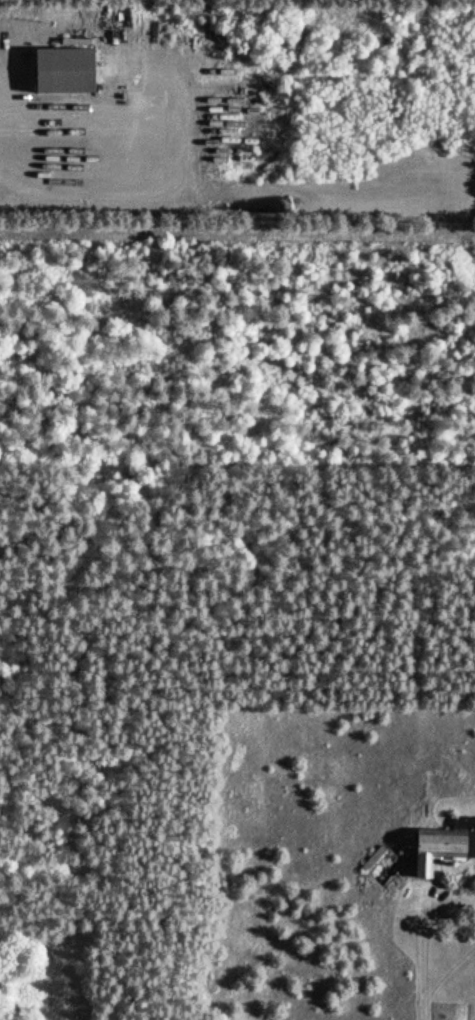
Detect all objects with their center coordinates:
building: (65, 68)
road: (3, 127)
building: (444, 841)

